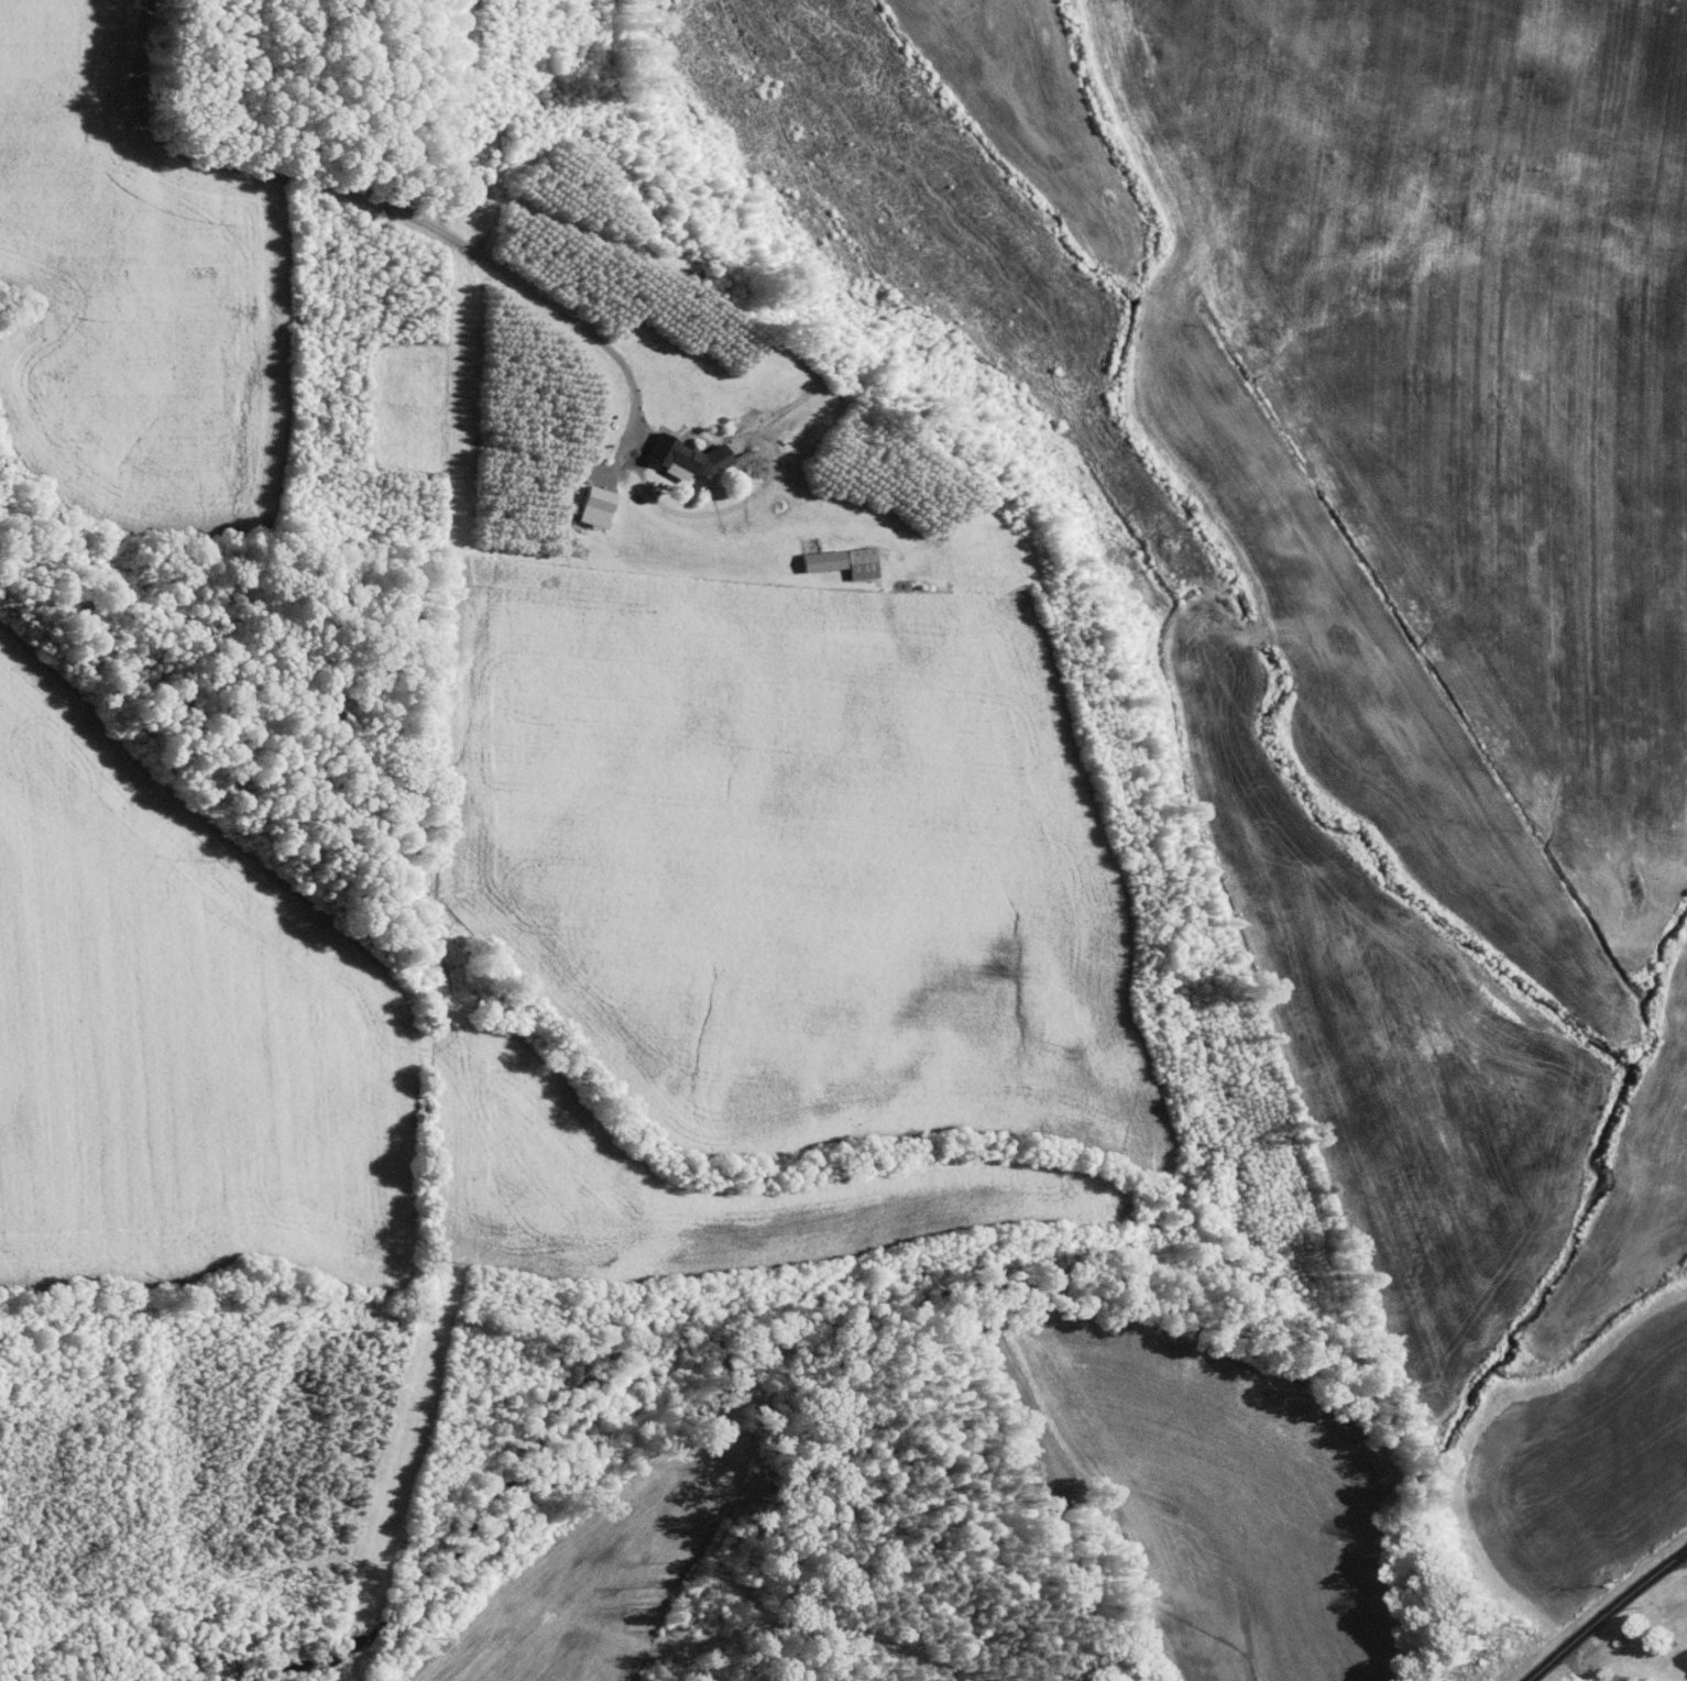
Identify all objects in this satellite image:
road: (368, 198)
building: (686, 457)
building: (589, 507)
building: (836, 561)
road: (1604, 1614)
road: (1571, 1662)
building: (1685, 1662)

